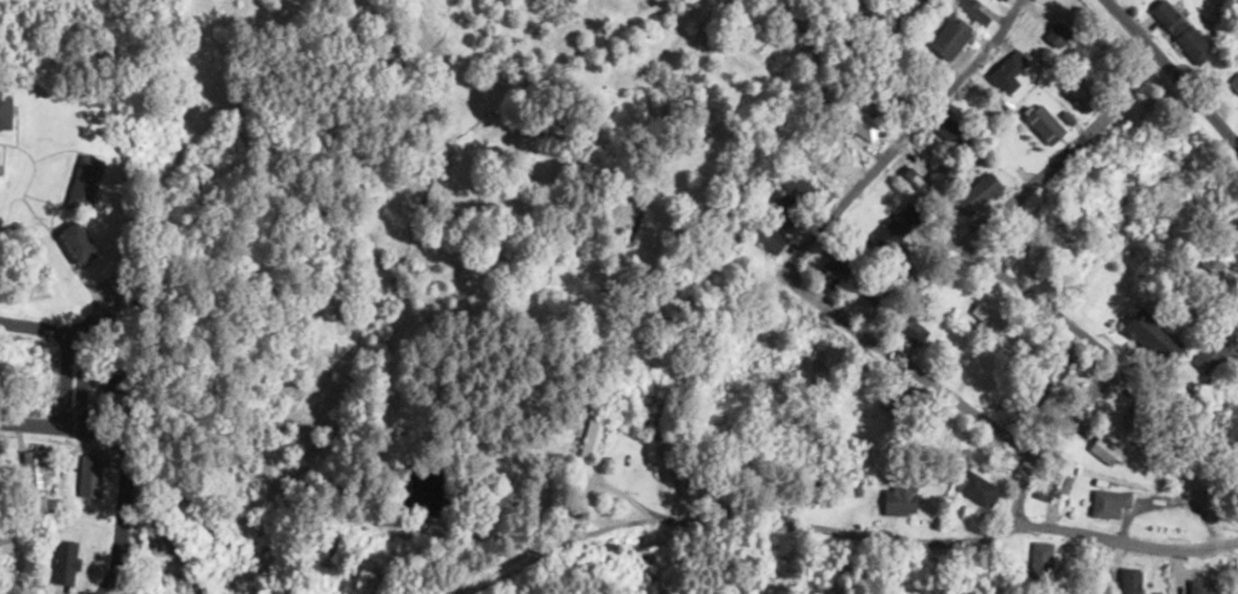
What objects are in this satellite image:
building: (1000, 0)
building: (909, 11)
building: (969, 11)
building: (1177, 29)
building: (1055, 34)
building: (948, 36)
building: (1006, 70)
road: (1170, 75)
building: (1232, 82)
building: (1078, 96)
building: (5, 108)
building: (860, 123)
building: (1042, 123)
building: (950, 132)
building: (825, 168)
building: (802, 186)
building: (79, 188)
building: (975, 194)
building: (777, 208)
building: (721, 236)
building: (766, 238)
building: (70, 240)
road: (800, 248)
building: (1215, 254)
road: (989, 263)
building: (986, 316)
building: (908, 328)
building: (1147, 336)
road: (70, 345)
building: (1211, 351)
building: (827, 356)
building: (892, 397)
building: (633, 423)
road: (63, 426)
building: (592, 437)
building: (1101, 451)
building: (34, 469)
building: (86, 475)
building: (974, 488)
road: (1020, 488)
building: (1049, 488)
building: (897, 498)
building: (1107, 503)
road: (119, 520)
road: (1124, 542)
building: (4, 543)
road: (793, 544)
building: (61, 563)
road: (1101, 565)
building: (1038, 566)
building: (1123, 582)
building: (1203, 586)

